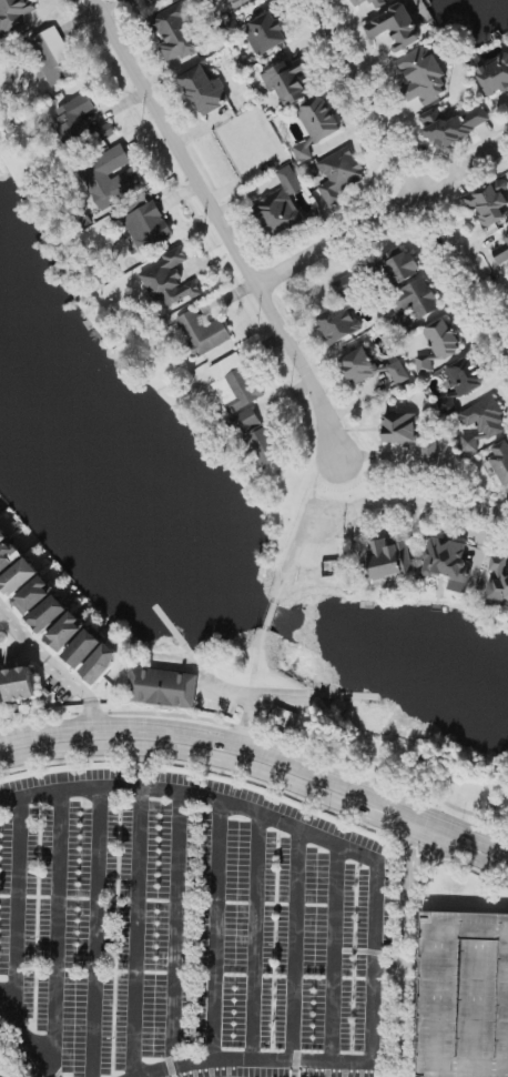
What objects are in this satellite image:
building: (134, 0)
road: (52, 2)
building: (240, 2)
building: (359, 2)
building: (379, 3)
building: (14, 14)
building: (396, 28)
building: (175, 34)
building: (265, 34)
building: (52, 57)
building: (424, 77)
building: (495, 77)
building: (287, 82)
building: (204, 91)
building: (74, 119)
building: (316, 125)
building: (453, 125)
building: (104, 132)
building: (339, 175)
road: (407, 175)
building: (111, 178)
building: (489, 203)
building: (281, 205)
road: (382, 214)
building: (148, 227)
road: (223, 230)
building: (502, 253)
building: (402, 268)
building: (169, 281)
building: (416, 299)
building: (342, 313)
building: (402, 324)
building: (203, 333)
building: (439, 344)
building: (359, 366)
building: (399, 373)
building: (466, 376)
building: (235, 384)
building: (447, 403)
building: (482, 423)
building: (399, 429)
building: (257, 439)
building: (429, 452)
road: (410, 497)
building: (3, 536)
road: (293, 551)
building: (9, 556)
building: (388, 558)
building: (447, 563)
building: (20, 577)
building: (498, 582)
building: (34, 595)
road: (273, 611)
road: (0, 613)
building: (49, 614)
building: (67, 632)
building: (84, 648)
road: (18, 656)
building: (102, 664)
road: (54, 671)
building: (20, 684)
building: (163, 688)
road: (225, 692)
building: (1, 697)
road: (245, 723)
road: (261, 758)
road: (260, 777)
road: (415, 828)
road: (377, 883)
parking lot: (195, 914)
road: (405, 956)
parking lot: (456, 994)
building: (464, 995)
road: (28, 1039)

